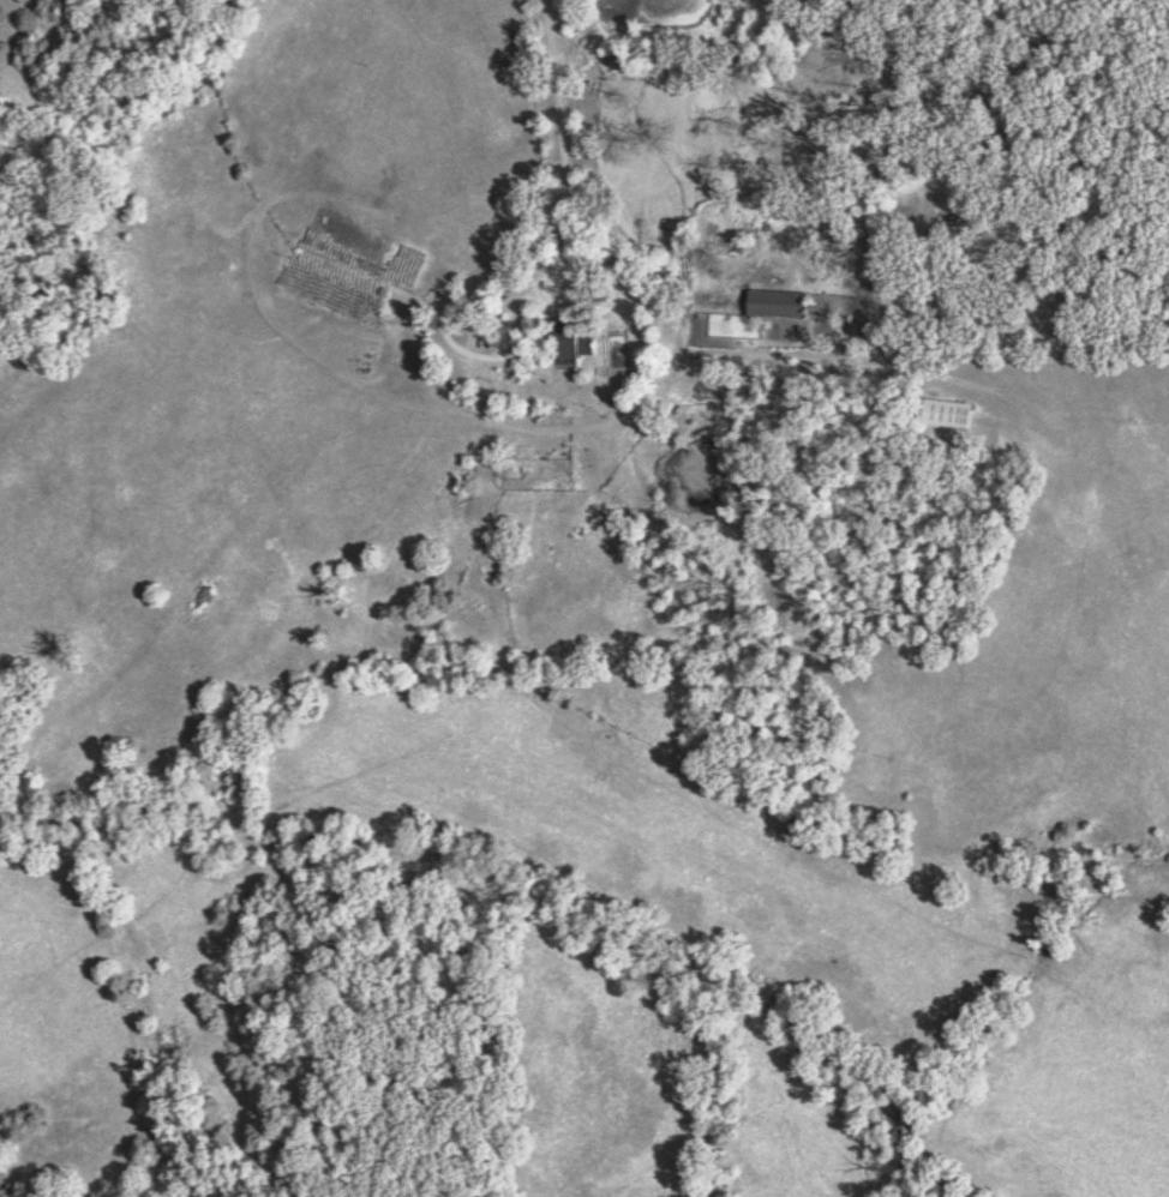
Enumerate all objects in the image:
road: (564, 200)
building: (780, 302)
building: (568, 343)
building: (951, 411)

